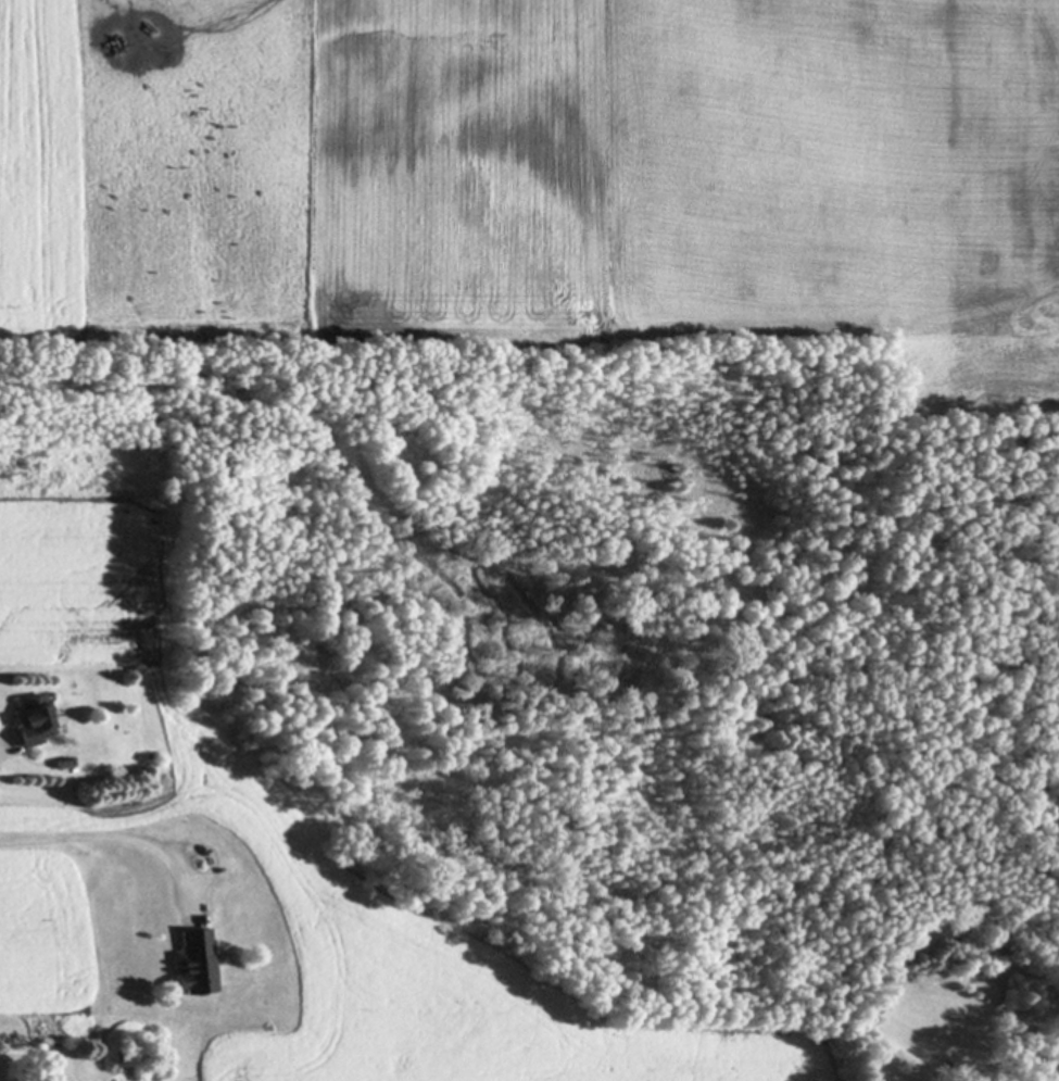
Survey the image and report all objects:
building: (29, 722)
road: (105, 838)
building: (190, 965)

